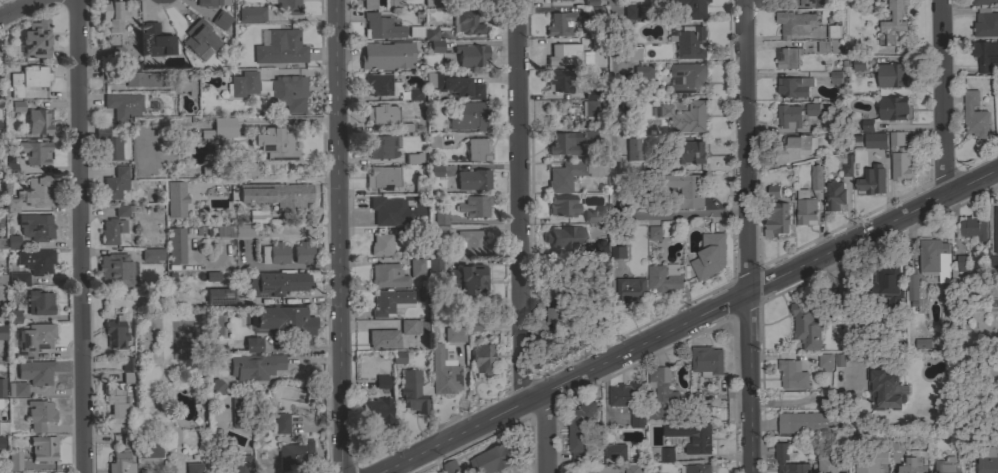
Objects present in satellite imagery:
building: (554, 0)
building: (265, 1)
building: (983, 2)
building: (206, 3)
building: (393, 3)
building: (802, 3)
building: (369, 4)
building: (288, 6)
building: (687, 7)
road: (20, 10)
building: (630, 11)
building: (592, 13)
building: (251, 14)
building: (113, 15)
building: (220, 19)
building: (891, 21)
building: (465, 22)
building: (560, 23)
building: (794, 23)
building: (986, 24)
building: (381, 27)
building: (832, 31)
building: (421, 32)
building: (36, 39)
building: (199, 39)
building: (687, 42)
building: (156, 43)
building: (436, 46)
building: (280, 47)
building: (561, 53)
building: (630, 53)
building: (386, 55)
building: (471, 55)
building: (985, 55)
building: (788, 58)
building: (855, 66)
building: (642, 71)
building: (890, 76)
building: (686, 77)
building: (835, 77)
building: (28, 79)
building: (146, 79)
building: (559, 81)
building: (243, 83)
building: (454, 83)
building: (380, 85)
building: (185, 86)
building: (793, 87)
building: (414, 94)
building: (285, 96)
road: (943, 98)
building: (123, 105)
building: (17, 106)
building: (590, 108)
building: (892, 108)
building: (634, 109)
building: (812, 109)
building: (382, 113)
building: (974, 115)
building: (470, 116)
building: (684, 116)
building: (788, 116)
building: (37, 121)
building: (223, 126)
building: (860, 127)
building: (589, 136)
building: (895, 138)
building: (433, 140)
building: (874, 140)
building: (565, 143)
building: (108, 144)
building: (275, 144)
building: (380, 147)
building: (633, 148)
building: (794, 148)
building: (477, 149)
building: (34, 151)
building: (687, 152)
building: (413, 158)
building: (846, 165)
building: (902, 165)
road: (612, 166)
building: (9, 168)
building: (250, 169)
building: (570, 174)
building: (382, 177)
building: (816, 178)
building: (473, 179)
building: (872, 181)
building: (115, 183)
building: (686, 190)
building: (37, 191)
building: (773, 191)
building: (275, 194)
building: (834, 196)
building: (175, 198)
building: (10, 204)
road: (516, 204)
building: (562, 205)
building: (474, 206)
building: (805, 208)
building: (121, 210)
building: (381, 210)
building: (257, 216)
building: (440, 217)
building: (587, 218)
building: (775, 218)
building: (36, 226)
building: (972, 228)
building: (111, 230)
building: (243, 230)
building: (996, 230)
building: (437, 231)
building: (654, 232)
road: (80, 236)
road: (338, 236)
road: (745, 236)
building: (565, 237)
building: (13, 241)
building: (2, 242)
building: (471, 242)
building: (381, 244)
building: (175, 245)
building: (602, 248)
building: (617, 252)
building: (274, 253)
building: (302, 253)
building: (152, 254)
building: (709, 255)
building: (934, 259)
building: (35, 260)
building: (961, 262)
building: (434, 264)
building: (416, 267)
building: (116, 271)
building: (669, 271)
building: (387, 275)
building: (17, 278)
building: (468, 278)
building: (662, 278)
building: (2, 279)
building: (277, 283)
building: (887, 284)
building: (912, 285)
building: (629, 289)
building: (219, 295)
building: (40, 301)
building: (838, 301)
building: (390, 302)
building: (14, 315)
building: (559, 315)
road: (690, 321)
building: (286, 324)
building: (409, 326)
building: (806, 326)
building: (2, 331)
building: (115, 332)
building: (454, 334)
building: (383, 338)
building: (34, 339)
building: (922, 343)
building: (252, 344)
building: (398, 356)
building: (482, 359)
building: (706, 361)
building: (824, 362)
building: (127, 363)
building: (254, 366)
building: (35, 371)
building: (443, 371)
building: (791, 374)
building: (381, 381)
building: (216, 385)
building: (2, 387)
building: (16, 389)
building: (883, 389)
building: (413, 391)
building: (660, 393)
road: (803, 399)
building: (628, 401)
building: (114, 402)
building: (377, 409)
building: (237, 412)
building: (704, 412)
building: (39, 414)
building: (281, 422)
building: (803, 422)
building: (3, 427)
building: (578, 430)
road: (550, 433)
building: (691, 436)
building: (1, 442)
building: (896, 443)
building: (150, 446)
building: (42, 448)
building: (614, 451)
building: (780, 451)
building: (295, 455)
building: (667, 455)
building: (985, 458)
building: (494, 459)
building: (14, 460)
building: (869, 461)
building: (120, 463)
building: (240, 463)
building: (826, 465)
building: (912, 466)
building: (946, 466)
building: (193, 467)
building: (451, 467)
building: (695, 468)
building: (631, 469)

